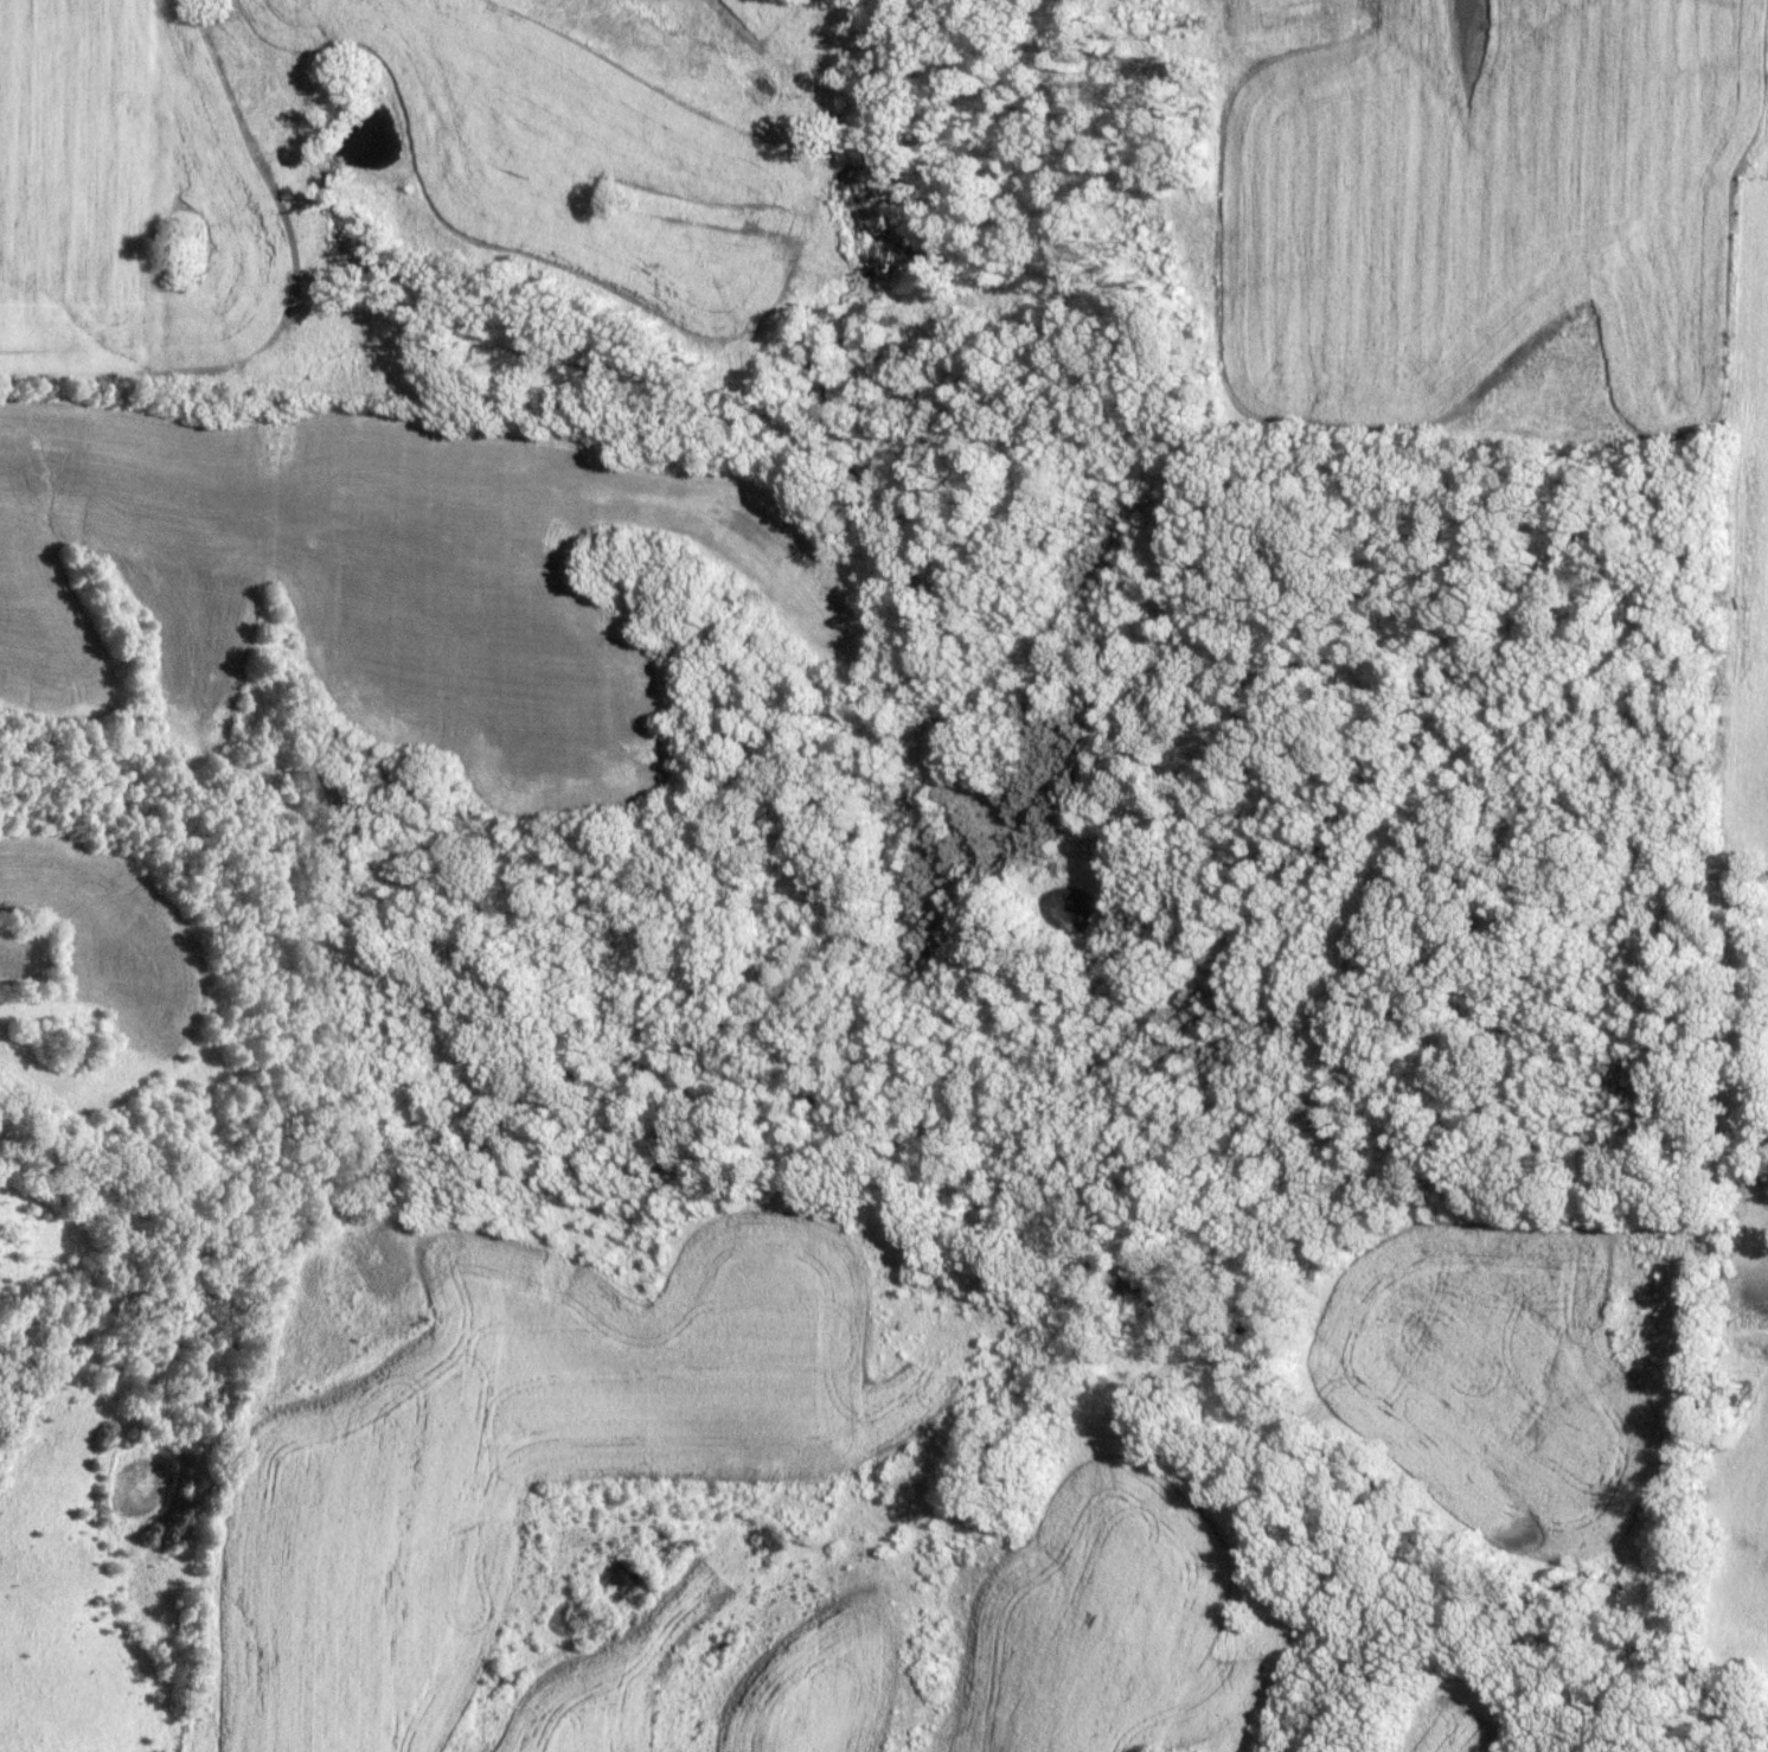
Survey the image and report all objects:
park: (192, 262)

